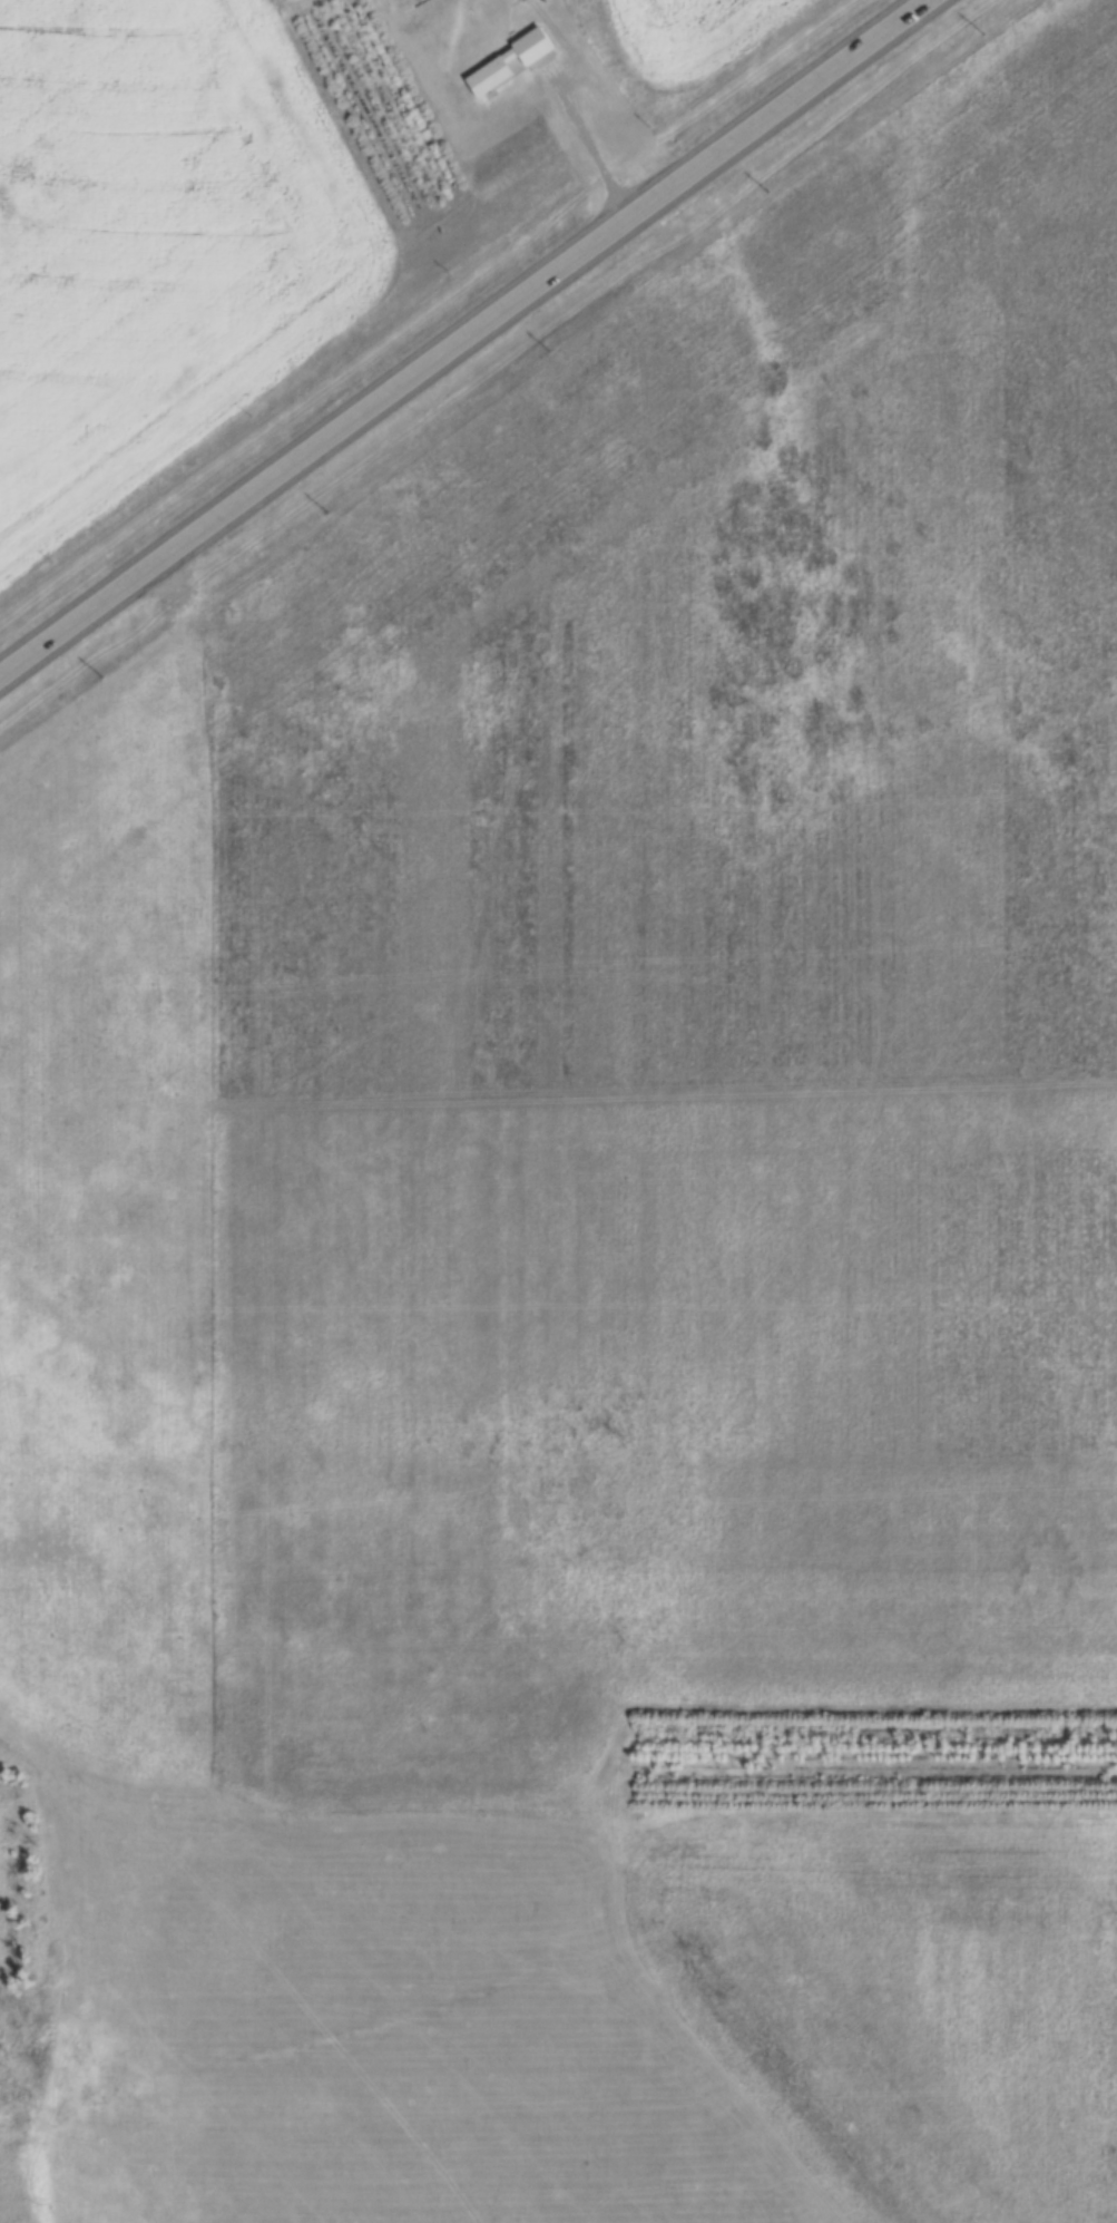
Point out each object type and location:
building: (507, 65)
road: (466, 339)

